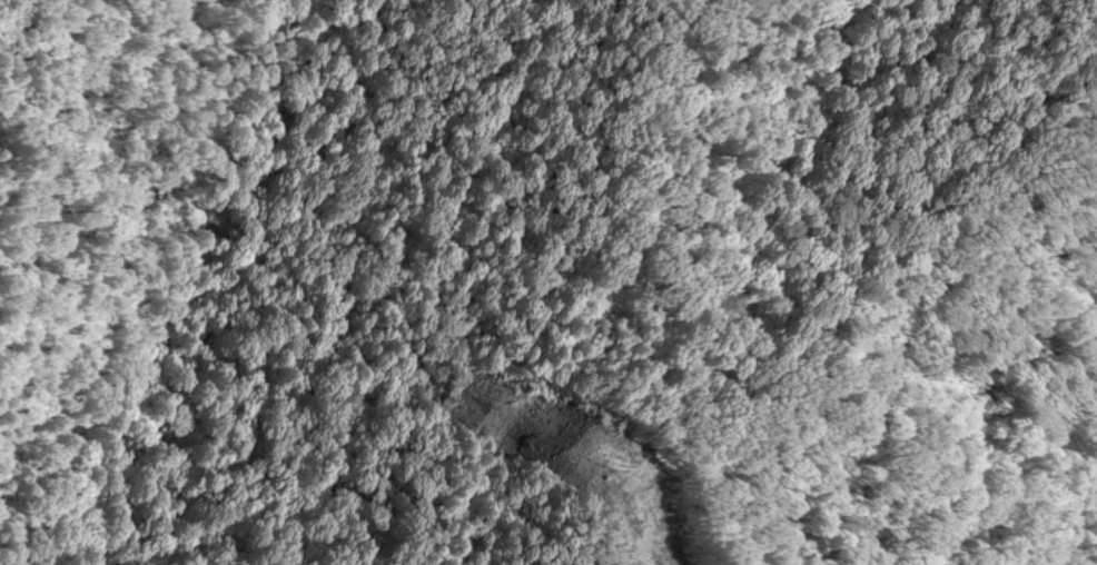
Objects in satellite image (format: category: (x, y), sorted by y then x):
road: (846, 517)

